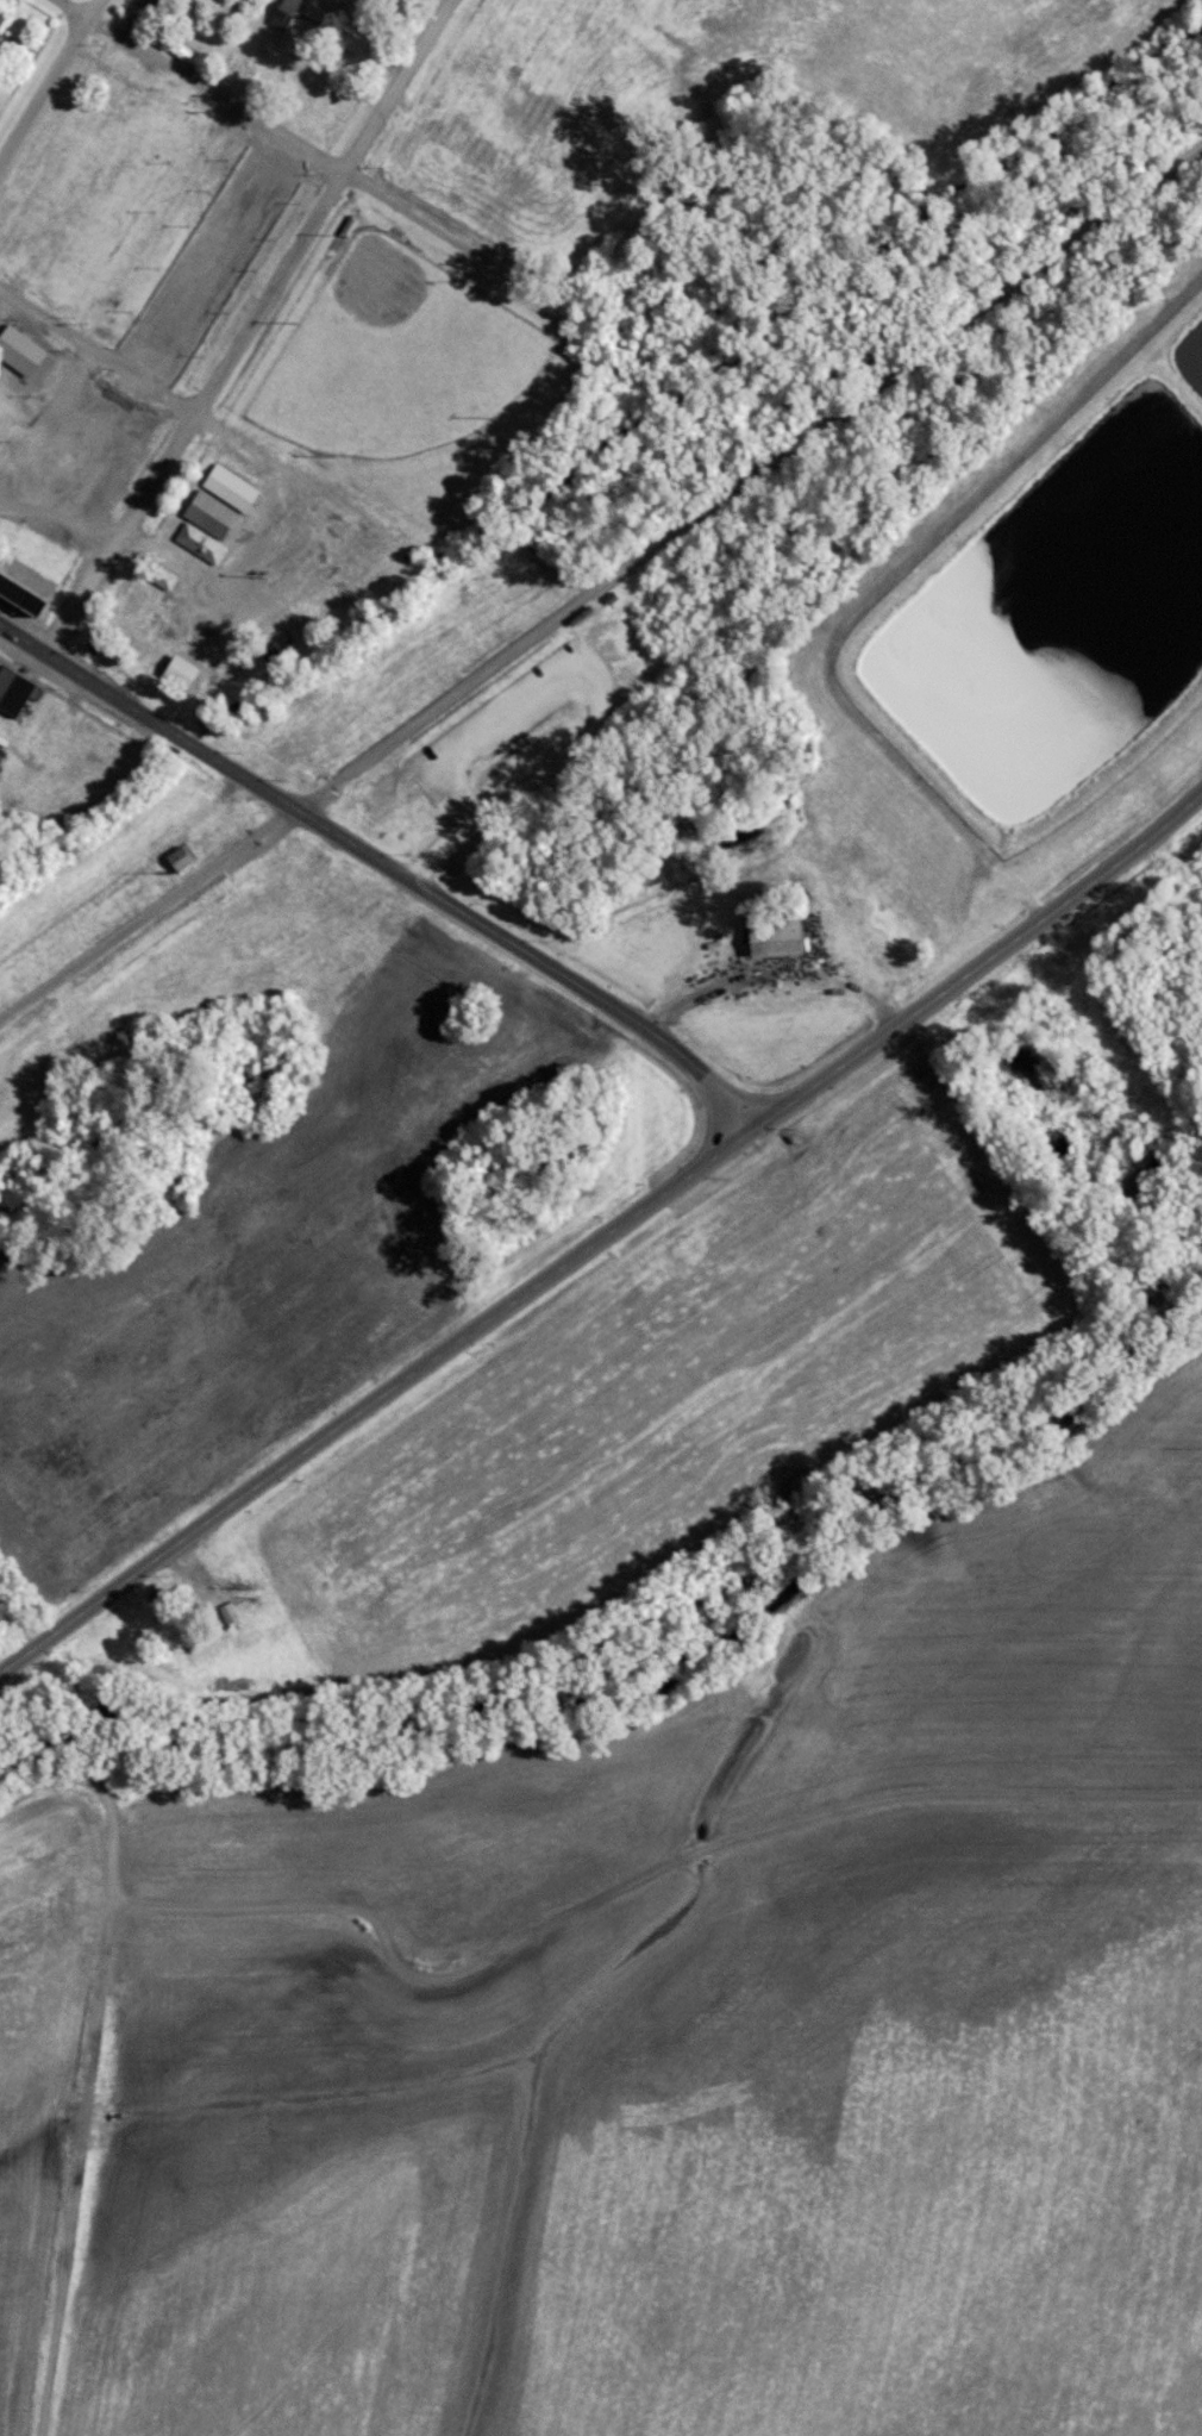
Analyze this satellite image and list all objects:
building: (280, 14)
building: (0, 20)
road: (46, 75)
road: (198, 88)
road: (414, 219)
road: (246, 329)
road: (96, 355)
road: (283, 466)
road: (747, 480)
building: (209, 514)
building: (158, 579)
building: (20, 591)
road: (572, 644)
building: (273, 648)
building: (175, 673)
building: (10, 692)
road: (591, 708)
parking lot: (496, 720)
building: (174, 860)
road: (390, 869)
road: (148, 916)
building: (769, 935)
road: (607, 1244)
building: (226, 1614)
road: (17, 1626)
building: (194, 1644)
road: (111, 1807)
road: (83, 2188)

